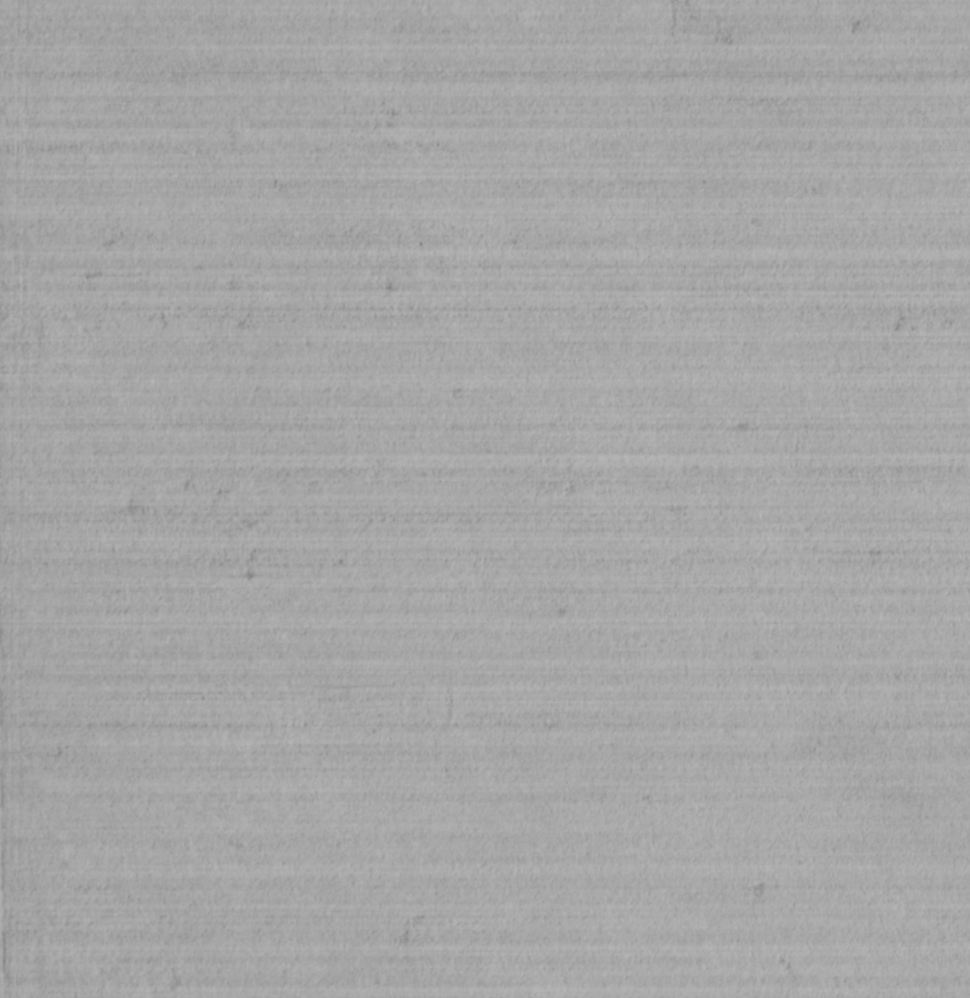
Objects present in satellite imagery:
crop: (485, 499)

